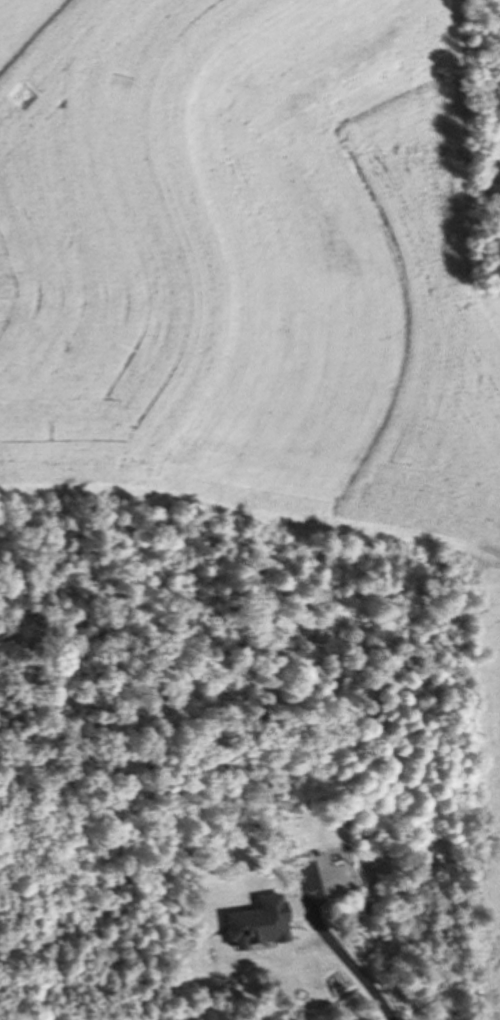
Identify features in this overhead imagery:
road: (341, 957)

